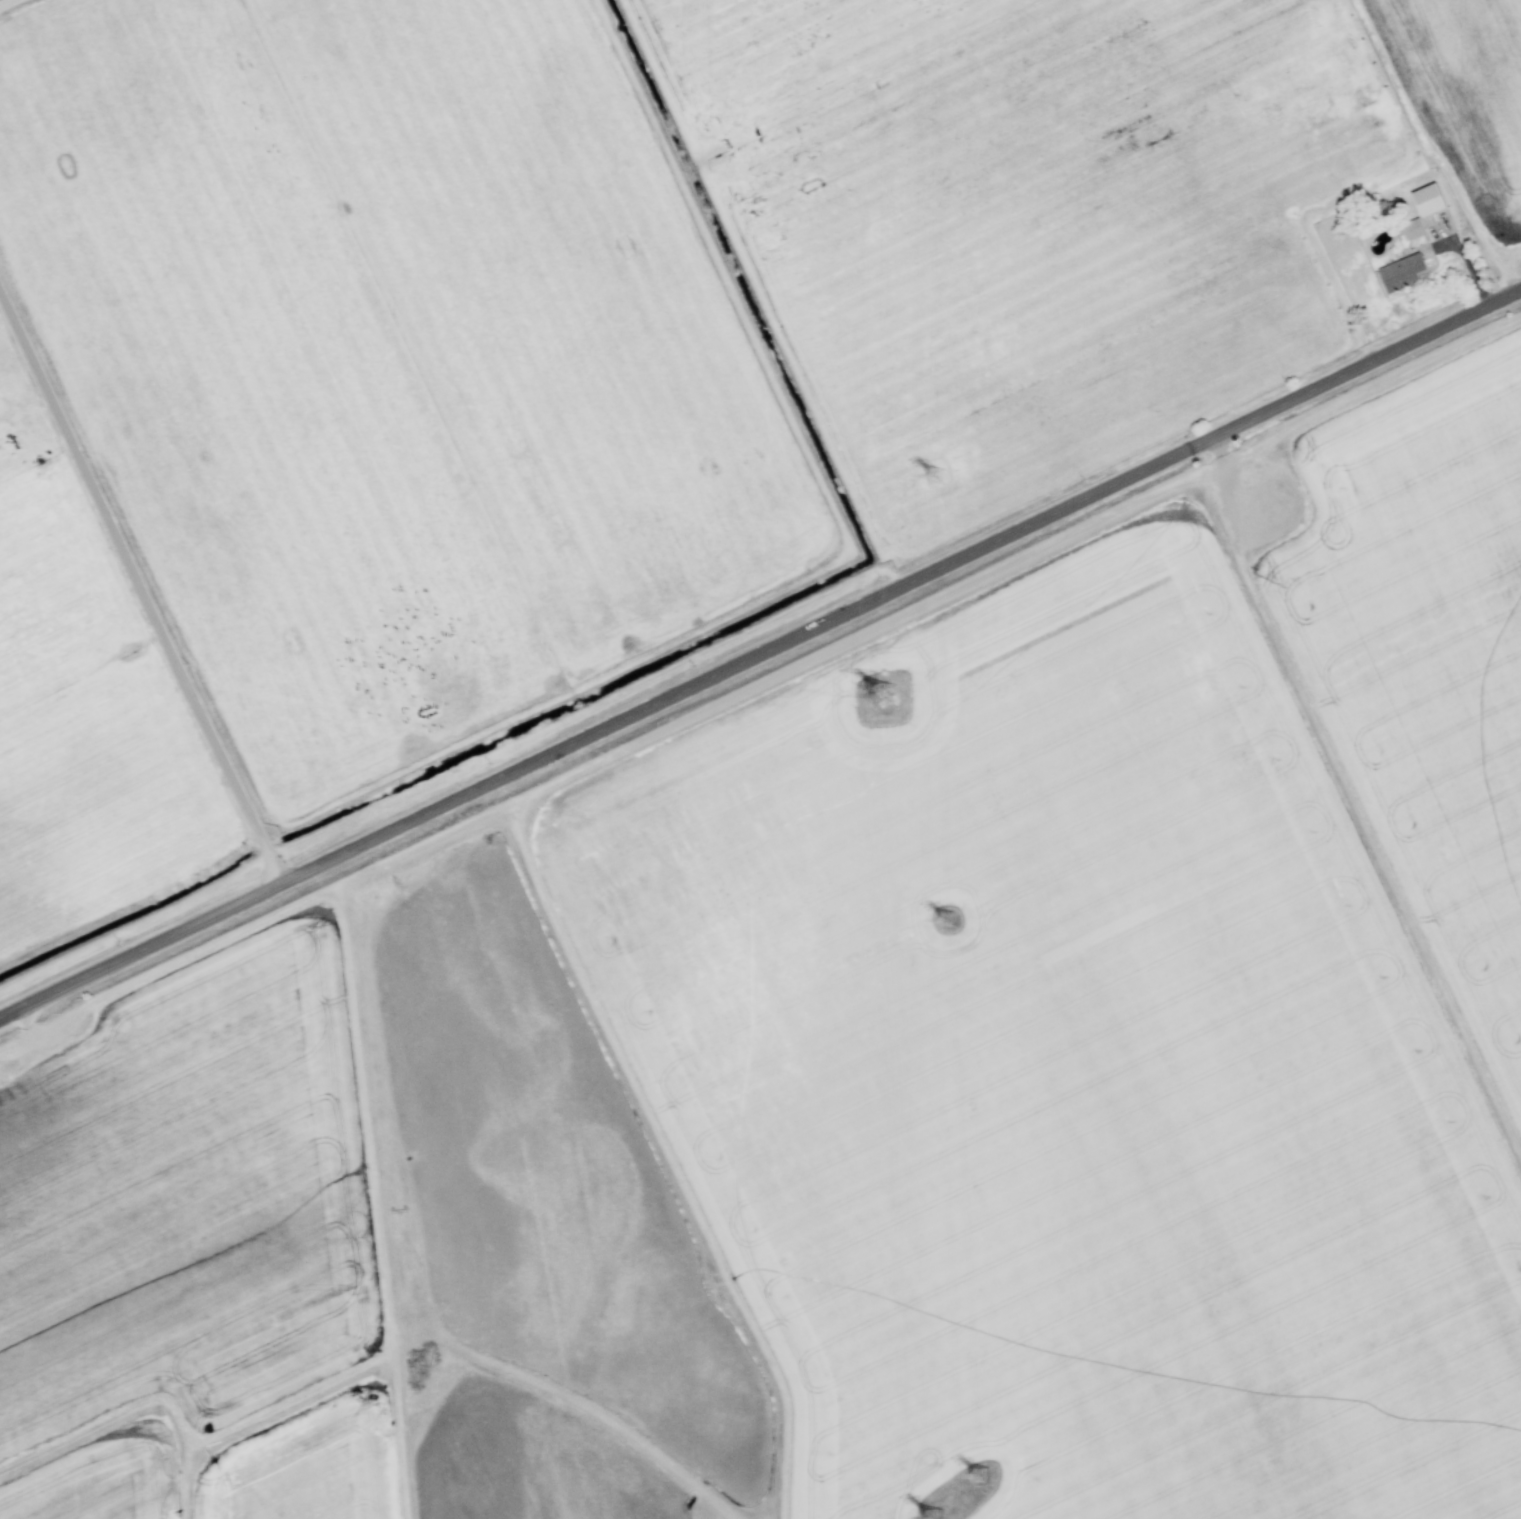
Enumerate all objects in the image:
building: (1429, 200)
building: (1415, 230)
building: (1402, 274)
power tower: (937, 477)
road: (140, 589)
road: (760, 655)
power tower: (889, 698)
power tower: (950, 920)
power tower: (984, 1478)

